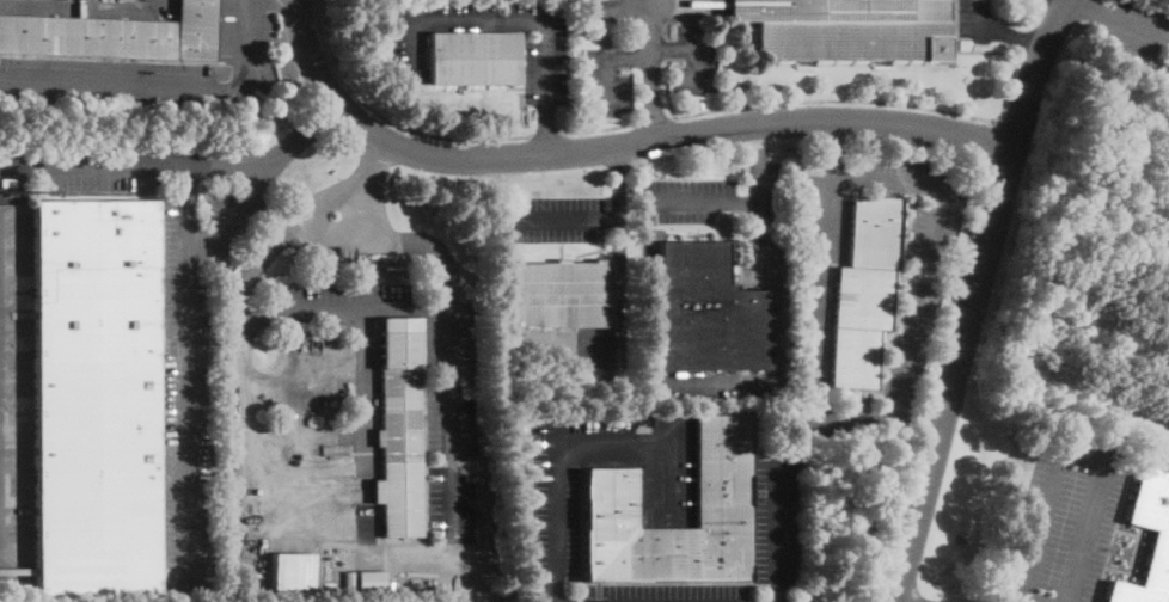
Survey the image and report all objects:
road: (116, 1)
road: (620, 8)
road: (1091, 8)
building: (385, 16)
road: (498, 19)
road: (980, 19)
parking lot: (975, 20)
parking lot: (1136, 27)
road: (1139, 27)
building: (847, 29)
parking lot: (241, 30)
road: (1012, 32)
building: (115, 35)
road: (1022, 42)
road: (693, 47)
parking lot: (645, 51)
parking lot: (545, 54)
road: (629, 56)
road: (1016, 57)
building: (473, 59)
parking lot: (106, 81)
road: (166, 84)
road: (665, 86)
road: (651, 98)
road: (836, 99)
road: (388, 118)
road: (653, 119)
road: (598, 127)
road: (544, 129)
road: (546, 133)
road: (300, 134)
road: (759, 139)
road: (993, 140)
road: (832, 145)
road: (613, 147)
road: (5, 166)
road: (98, 166)
road: (225, 166)
parking lot: (94, 178)
parking lot: (771, 192)
parking lot: (686, 199)
road: (727, 202)
parking lot: (825, 208)
road: (975, 209)
road: (228, 213)
parking lot: (553, 217)
road: (563, 217)
road: (292, 225)
road: (410, 241)
building: (344, 253)
building: (369, 269)
road: (951, 270)
road: (960, 270)
road: (617, 287)
building: (864, 291)
building: (561, 295)
road: (974, 297)
building: (708, 312)
road: (448, 317)
parking lot: (911, 342)
road: (940, 348)
parking lot: (194, 371)
road: (186, 375)
building: (94, 398)
road: (888, 406)
road: (912, 423)
parking lot: (449, 424)
road: (918, 425)
building: (398, 426)
road: (568, 436)
building: (481, 448)
road: (1078, 449)
parking lot: (569, 489)
building: (610, 498)
parking lot: (775, 520)
road: (895, 520)
parking lot: (1065, 520)
road: (773, 533)
building: (1158, 554)
building: (290, 570)
building: (348, 578)
building: (369, 578)
parking lot: (665, 592)
road: (873, 601)
road: (1021, 601)

